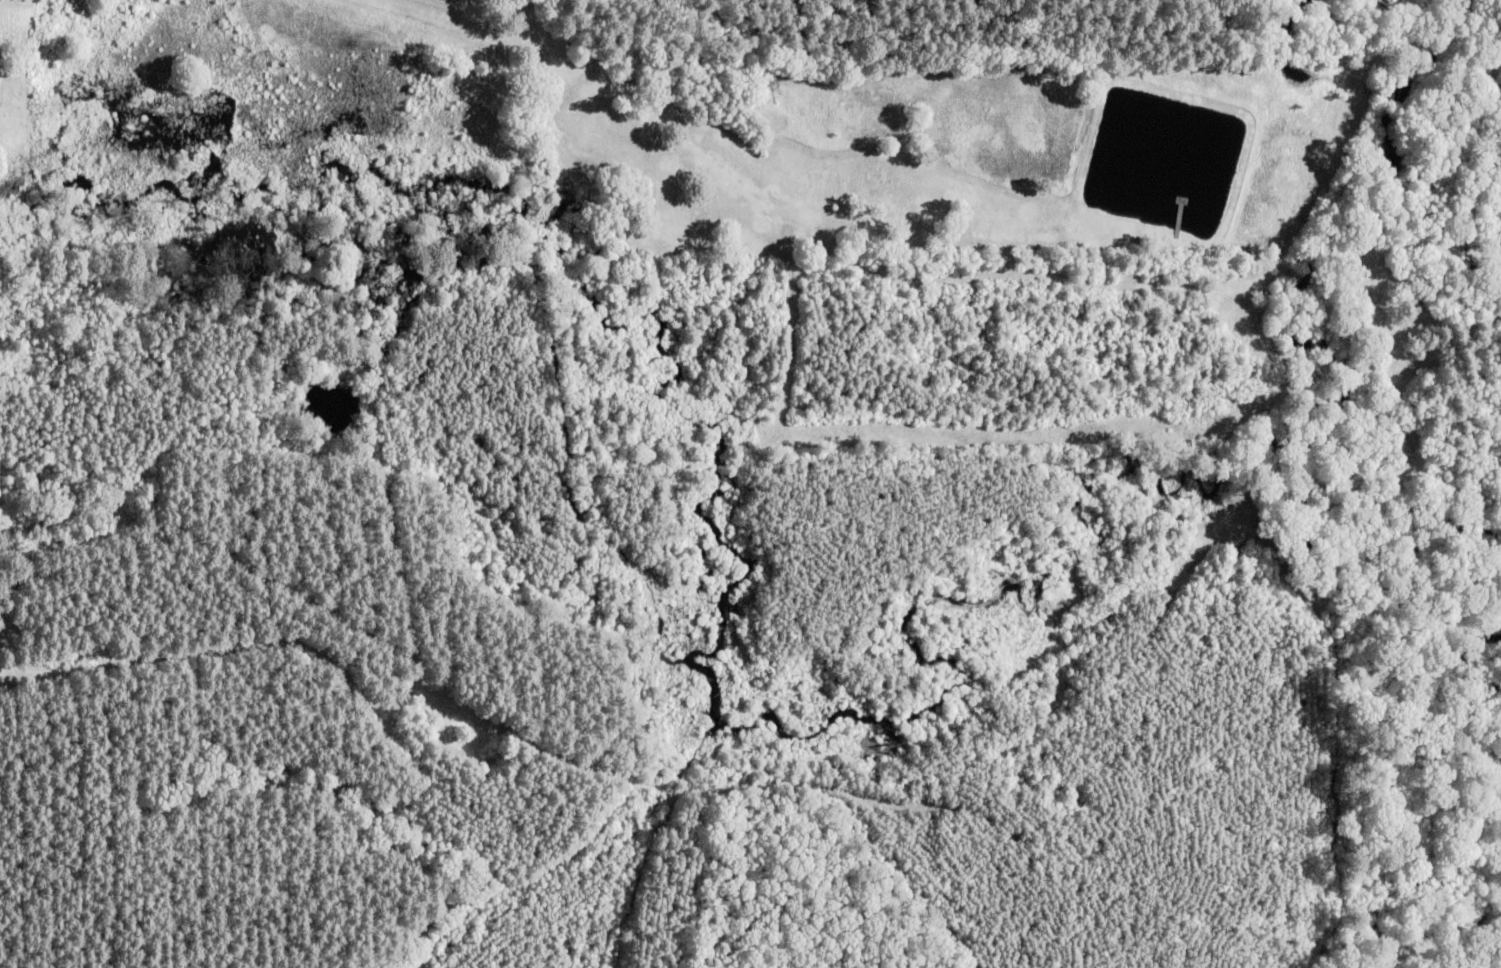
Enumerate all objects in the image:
building: (1183, 200)

